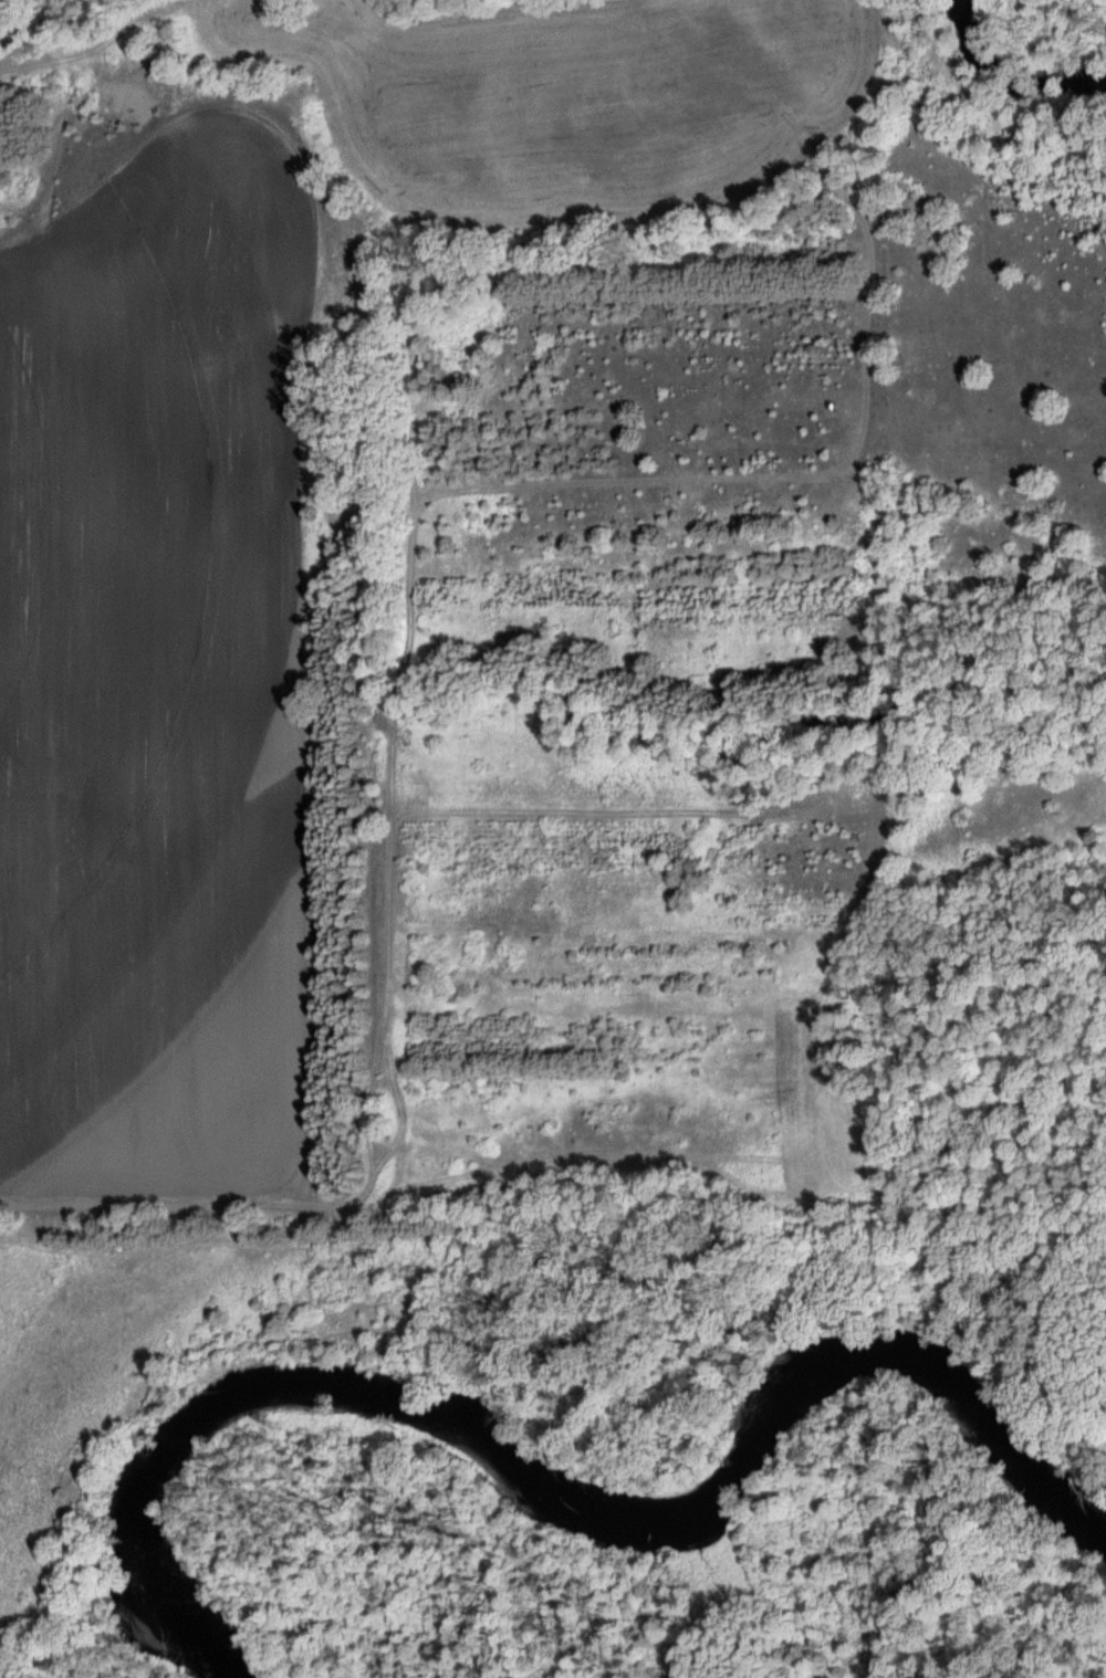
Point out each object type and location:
road: (340, 1215)
road: (115, 1251)
road: (968, 1304)
park: (615, 1305)
road: (380, 1341)
river: (541, 1475)

